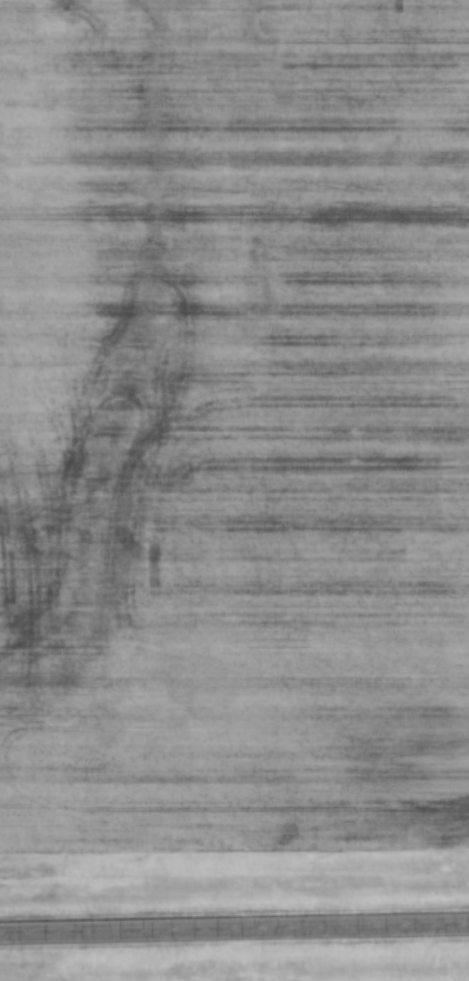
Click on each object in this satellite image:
road: (234, 925)

